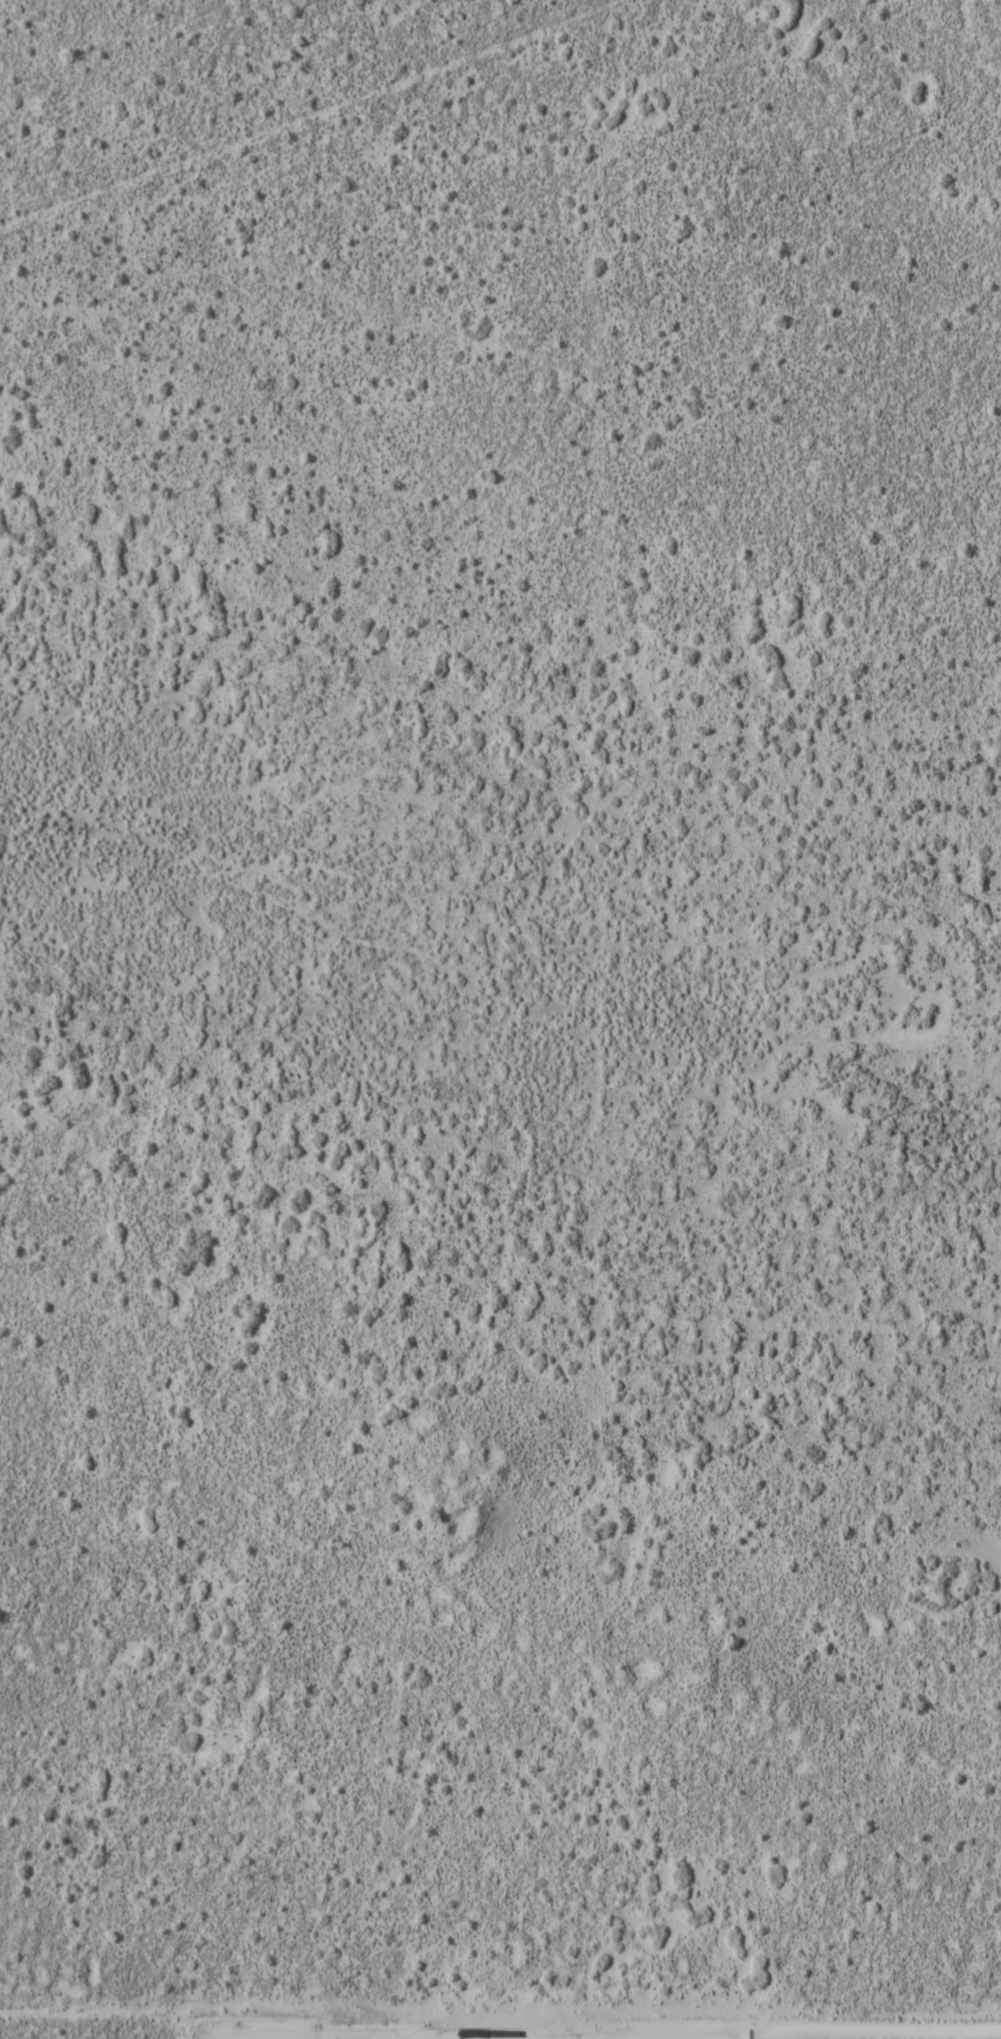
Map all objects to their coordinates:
road: (840, 2026)

